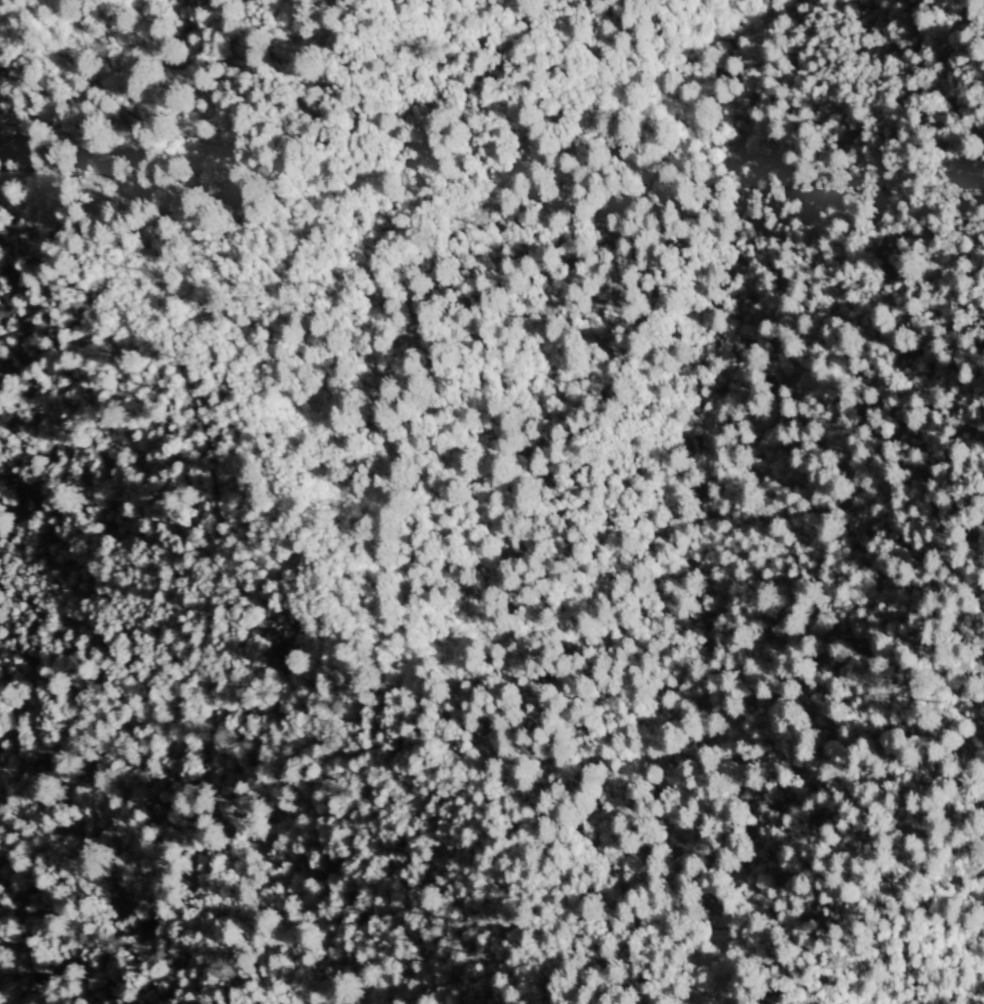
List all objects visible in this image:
road: (190, 61)
road: (207, 457)

